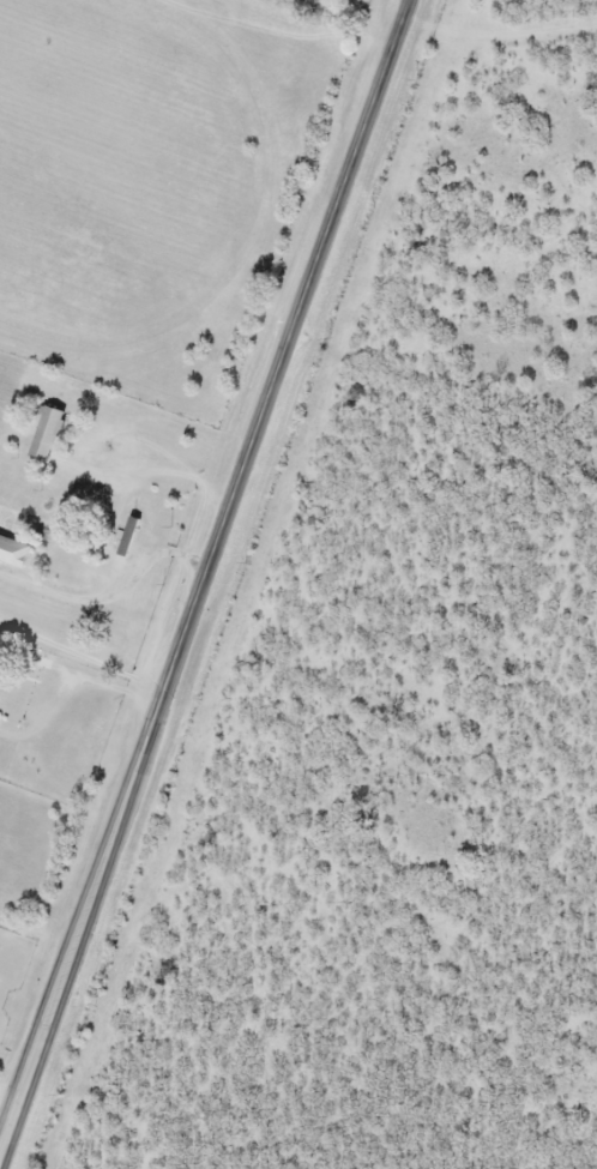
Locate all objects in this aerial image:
building: (48, 432)
road: (152, 468)
building: (129, 535)
building: (16, 550)
road: (199, 572)
road: (108, 595)
road: (79, 661)

